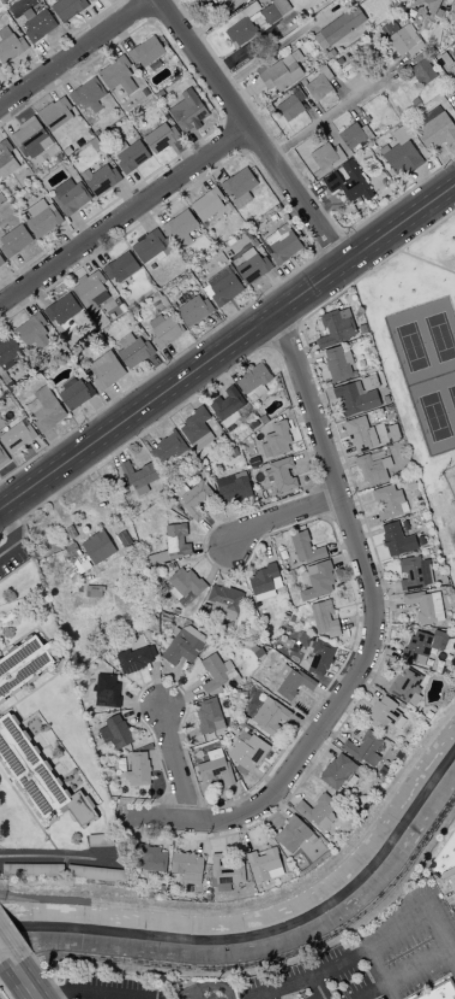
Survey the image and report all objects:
building: (58, 0)
building: (93, 0)
building: (216, 2)
building: (282, 6)
building: (428, 7)
building: (69, 8)
road: (144, 9)
building: (251, 9)
road: (107, 11)
building: (453, 11)
building: (29, 14)
building: (270, 14)
road: (215, 20)
road: (151, 21)
road: (92, 22)
building: (343, 25)
building: (40, 26)
building: (391, 28)
building: (242, 31)
building: (5, 33)
road: (123, 35)
building: (346, 39)
building: (414, 40)
building: (402, 41)
road: (60, 42)
road: (284, 43)
building: (236, 45)
road: (108, 46)
building: (12, 48)
building: (147, 52)
building: (453, 52)
road: (48, 53)
road: (74, 53)
building: (421, 57)
road: (234, 58)
road: (33, 64)
building: (262, 68)
building: (424, 72)
building: (326, 73)
building: (282, 74)
building: (119, 75)
road: (65, 77)
building: (304, 83)
road: (49, 87)
building: (319, 88)
road: (341, 91)
road: (246, 92)
building: (88, 94)
building: (161, 95)
building: (292, 104)
road: (214, 107)
building: (270, 108)
road: (317, 108)
building: (92, 110)
building: (189, 111)
road: (238, 112)
building: (56, 114)
road: (329, 115)
road: (7, 121)
building: (423, 121)
road: (222, 122)
building: (70, 124)
road: (250, 131)
building: (437, 132)
building: (368, 133)
building: (402, 134)
road: (234, 136)
building: (353, 136)
building: (162, 137)
building: (31, 138)
road: (255, 141)
road: (198, 143)
building: (121, 148)
building: (384, 150)
building: (5, 152)
road: (243, 152)
building: (340, 153)
road: (184, 154)
building: (362, 154)
building: (324, 156)
building: (133, 157)
building: (369, 157)
building: (403, 158)
road: (216, 167)
building: (8, 169)
building: (328, 169)
building: (350, 174)
road: (202, 176)
building: (102, 179)
building: (328, 182)
building: (239, 183)
road: (426, 183)
road: (140, 184)
building: (64, 187)
building: (359, 191)
road: (310, 192)
road: (126, 195)
building: (2, 198)
building: (73, 199)
building: (242, 200)
building: (208, 204)
building: (228, 204)
road: (326, 205)
building: (37, 207)
road: (157, 209)
road: (322, 209)
road: (123, 214)
road: (143, 218)
building: (45, 222)
building: (181, 225)
road: (81, 226)
building: (245, 231)
building: (284, 231)
road: (342, 235)
road: (67, 237)
building: (141, 238)
building: (272, 238)
building: (15, 240)
road: (307, 240)
building: (185, 241)
building: (150, 246)
road: (330, 246)
building: (285, 247)
road: (98, 251)
building: (164, 253)
building: (248, 253)
road: (298, 253)
road: (316, 255)
road: (354, 255)
road: (84, 260)
building: (1, 261)
road: (426, 262)
building: (122, 267)
road: (22, 268)
building: (254, 268)
road: (331, 272)
road: (295, 276)
road: (8, 278)
building: (224, 286)
road: (279, 286)
building: (91, 291)
road: (39, 292)
building: (118, 300)
road: (292, 301)
road: (24, 302)
building: (63, 309)
building: (195, 310)
building: (345, 313)
building: (138, 319)
road: (234, 319)
building: (157, 321)
road: (264, 321)
building: (143, 323)
road: (301, 323)
building: (137, 327)
road: (220, 328)
building: (336, 329)
building: (364, 329)
building: (360, 330)
building: (167, 331)
building: (33, 332)
road: (286, 333)
road: (227, 346)
road: (174, 347)
road: (271, 347)
building: (8, 349)
building: (79, 349)
building: (134, 350)
road: (305, 350)
building: (348, 358)
road: (310, 360)
road: (175, 361)
park: (421, 363)
building: (9, 364)
road: (229, 365)
road: (246, 365)
building: (338, 365)
park: (428, 368)
building: (106, 370)
road: (322, 370)
road: (160, 371)
road: (218, 373)
building: (255, 378)
building: (69, 383)
building: (360, 388)
building: (258, 391)
road: (190, 392)
building: (77, 394)
road: (267, 396)
road: (320, 397)
building: (356, 399)
building: (387, 399)
building: (11, 401)
road: (117, 403)
building: (228, 403)
road: (335, 409)
building: (47, 410)
road: (102, 412)
road: (321, 413)
road: (181, 417)
building: (231, 419)
building: (264, 419)
road: (301, 419)
building: (255, 424)
building: (196, 425)
building: (211, 426)
building: (231, 428)
road: (141, 432)
road: (158, 432)
building: (240, 433)
building: (359, 433)
building: (398, 435)
building: (18, 436)
building: (372, 437)
road: (344, 439)
building: (278, 440)
building: (203, 441)
road: (59, 444)
road: (113, 447)
building: (169, 448)
building: (235, 452)
road: (290, 452)
road: (45, 453)
road: (341, 453)
building: (380, 455)
road: (310, 456)
building: (3, 457)
road: (132, 458)
building: (255, 462)
road: (352, 465)
building: (267, 467)
road: (343, 467)
building: (374, 469)
building: (410, 471)
building: (257, 473)
building: (140, 474)
building: (241, 475)
building: (283, 475)
park: (450, 477)
building: (411, 480)
road: (97, 481)
building: (225, 481)
road: (335, 482)
road: (361, 482)
road: (317, 486)
road: (292, 489)
building: (127, 490)
building: (184, 490)
building: (236, 490)
road: (5, 495)
road: (372, 496)
road: (51, 498)
building: (197, 499)
road: (323, 501)
building: (390, 501)
road: (410, 501)
road: (367, 503)
road: (241, 507)
building: (405, 507)
road: (376, 508)
road: (344, 510)
road: (208, 513)
road: (282, 515)
building: (398, 516)
road: (326, 518)
road: (232, 519)
road: (365, 520)
road: (295, 525)
building: (403, 525)
road: (215, 533)
road: (368, 534)
road: (16, 535)
road: (196, 535)
building: (125, 539)
building: (178, 540)
building: (399, 540)
road: (266, 543)
road: (379, 545)
road: (341, 546)
building: (99, 547)
road: (211, 548)
building: (133, 549)
building: (305, 549)
building: (78, 557)
building: (161, 557)
road: (345, 559)
road: (196, 563)
road: (218, 563)
road: (226, 564)
road: (380, 565)
road: (255, 569)
road: (16, 570)
building: (312, 570)
building: (427, 572)
building: (412, 573)
building: (264, 579)
building: (320, 581)
road: (342, 581)
building: (187, 582)
building: (104, 589)
road: (386, 589)
building: (450, 590)
building: (95, 591)
building: (226, 597)
building: (188, 599)
building: (451, 599)
road: (364, 602)
road: (388, 603)
building: (207, 606)
road: (344, 606)
building: (422, 606)
building: (438, 606)
building: (223, 611)
building: (268, 612)
building: (167, 617)
building: (324, 617)
road: (356, 621)
road: (177, 624)
building: (432, 625)
road: (243, 628)
building: (177, 631)
building: (254, 633)
building: (335, 633)
road: (405, 635)
building: (188, 637)
road: (370, 640)
road: (4, 641)
building: (423, 646)
road: (386, 647)
building: (180, 651)
building: (260, 653)
building: (320, 657)
road: (61, 660)
building: (134, 660)
building: (422, 660)
road: (338, 663)
building: (24, 666)
road: (330, 667)
building: (285, 671)
road: (395, 671)
building: (215, 673)
road: (375, 677)
road: (141, 678)
road: (339, 678)
road: (172, 682)
road: (157, 684)
building: (295, 684)
building: (407, 684)
road: (34, 686)
road: (368, 687)
building: (109, 689)
building: (217, 691)
road: (23, 694)
road: (308, 694)
road: (326, 694)
road: (153, 695)
road: (182, 698)
road: (371, 698)
road: (16, 699)
building: (101, 701)
building: (268, 701)
road: (366, 702)
road: (141, 705)
road: (4, 707)
road: (141, 709)
building: (89, 711)
road: (193, 712)
building: (384, 714)
building: (429, 716)
building: (210, 717)
building: (272, 718)
building: (246, 720)
road: (21, 722)
road: (197, 723)
building: (401, 723)
road: (135, 724)
road: (303, 725)
building: (243, 726)
road: (27, 730)
building: (119, 732)
building: (106, 735)
road: (331, 736)
building: (98, 738)
road: (184, 738)
building: (108, 744)
building: (405, 746)
road: (325, 747)
building: (366, 749)
road: (42, 750)
building: (250, 753)
building: (215, 755)
road: (160, 756)
road: (49, 760)
road: (262, 760)
road: (322, 762)
road: (174, 763)
road: (327, 764)
road: (53, 766)
building: (127, 769)
building: (140, 770)
building: (31, 771)
building: (217, 771)
building: (242, 771)
building: (384, 771)
building: (338, 772)
road: (61, 773)
road: (61, 777)
road: (265, 778)
building: (349, 782)
road: (15, 787)
road: (222, 789)
road: (18, 792)
road: (72, 793)
road: (363, 793)
road: (287, 794)
road: (236, 799)
road: (172, 801)
road: (198, 803)
road: (279, 805)
road: (186, 807)
road: (228, 810)
building: (319, 810)
road: (30, 812)
road: (142, 830)
road: (244, 833)
road: (263, 833)
building: (294, 834)
road: (215, 837)
road: (202, 839)
building: (101, 840)
building: (330, 840)
road: (162, 841)
road: (188, 845)
building: (334, 845)
road: (226, 851)
road: (60, 857)
building: (152, 858)
building: (445, 861)
building: (187, 863)
building: (264, 864)
building: (34, 869)
road: (153, 871)
building: (227, 871)
building: (98, 874)
building: (192, 878)
building: (224, 887)
building: (209, 892)
building: (252, 893)
building: (209, 898)
building: (203, 901)
road: (15, 930)
road: (3, 950)
road: (367, 952)
road: (260, 962)
road: (5, 964)
road: (379, 975)
road: (404, 975)
road: (47, 976)
road: (22, 977)
road: (433, 983)
road: (213, 985)
road: (318, 988)
road: (107, 989)
road: (5, 990)
building: (440, 991)
road: (95, 993)
road: (195, 998)
road: (321, 998)
building: (383, 998)

